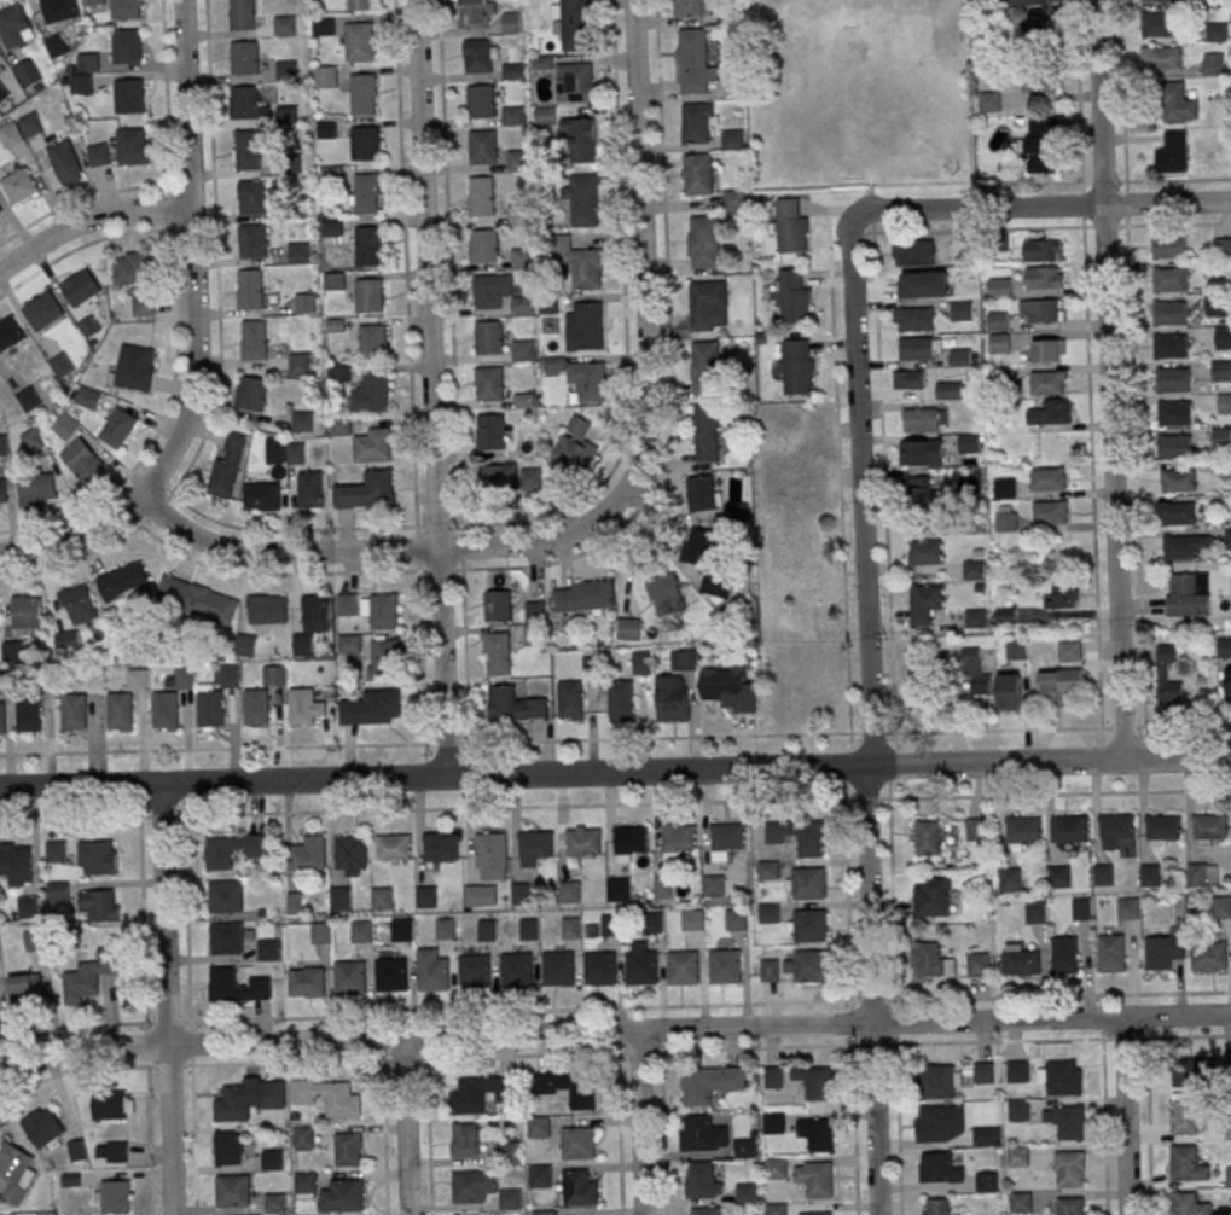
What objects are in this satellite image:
building: (1157, 0)
building: (94, 2)
building: (1032, 2)
building: (358, 5)
building: (692, 8)
building: (58, 10)
building: (126, 10)
building: (476, 12)
building: (242, 14)
building: (573, 22)
building: (511, 23)
building: (1157, 24)
building: (14, 25)
building: (284, 25)
building: (324, 27)
building: (1037, 28)
building: (1215, 33)
building: (360, 41)
building: (56, 46)
building: (127, 46)
building: (481, 56)
building: (244, 57)
building: (1161, 57)
building: (692, 62)
building: (87, 63)
building: (1212, 64)
building: (27, 74)
building: (326, 76)
building: (574, 82)
building: (1039, 82)
building: (80, 85)
building: (2, 93)
building: (364, 93)
building: (128, 95)
building: (481, 101)
building: (988, 101)
building: (248, 103)
building: (1179, 104)
building: (286, 115)
building: (513, 116)
building: (544, 116)
building: (697, 123)
building: (21, 129)
building: (327, 129)
building: (580, 140)
building: (366, 144)
building: (132, 146)
building: (1040, 146)
building: (483, 147)
building: (246, 150)
building: (1172, 152)
building: (97, 155)
building: (516, 159)
building: (64, 162)
building: (696, 174)
road: (214, 175)
road: (1028, 184)
building: (19, 186)
building: (367, 193)
building: (482, 196)
building: (251, 197)
building: (582, 199)
building: (734, 200)
road: (1081, 204)
road: (1040, 207)
building: (0, 211)
building: (517, 214)
road: (91, 219)
building: (790, 226)
road: (977, 229)
building: (252, 242)
building: (707, 242)
building: (484, 245)
building: (1168, 245)
building: (367, 246)
building: (1041, 250)
building: (298, 252)
building: (912, 252)
road: (194, 254)
road: (641, 255)
building: (521, 258)
building: (583, 266)
building: (129, 269)
building: (1043, 277)
building: (335, 280)
building: (1169, 280)
road: (451, 284)
building: (80, 287)
building: (904, 287)
building: (999, 287)
building: (249, 289)
building: (489, 290)
building: (368, 295)
building: (794, 297)
building: (306, 303)
building: (523, 306)
building: (705, 306)
building: (1217, 306)
building: (141, 307)
building: (42, 310)
building: (1040, 310)
building: (1169, 313)
building: (911, 319)
building: (585, 327)
building: (8, 333)
building: (489, 337)
building: (1223, 338)
building: (254, 341)
building: (372, 341)
building: (1169, 345)
building: (916, 348)
building: (523, 350)
building: (1049, 350)
building: (300, 364)
road: (1131, 364)
building: (60, 365)
building: (553, 365)
building: (133, 367)
building: (797, 367)
building: (705, 368)
road: (411, 379)
building: (907, 379)
road: (1108, 379)
building: (1173, 379)
building: (586, 382)
building: (1047, 383)
building: (489, 384)
road: (432, 388)
building: (948, 390)
building: (250, 394)
building: (371, 394)
building: (28, 399)
building: (87, 399)
building: (1224, 403)
building: (1050, 413)
building: (1173, 413)
building: (921, 419)
building: (302, 422)
building: (339, 426)
building: (64, 428)
building: (117, 428)
building: (489, 432)
building: (705, 432)
building: (1220, 437)
building: (31, 440)
building: (969, 443)
building: (4, 446)
building: (371, 446)
building: (575, 446)
building: (1173, 446)
building: (273, 450)
building: (295, 453)
building: (923, 453)
building: (81, 459)
parking lot: (795, 460)
building: (226, 464)
road: (838, 473)
building: (499, 476)
road: (1091, 477)
building: (530, 478)
building: (1047, 478)
building: (1177, 481)
road: (883, 482)
building: (1004, 488)
building: (36, 489)
building: (309, 489)
building: (365, 490)
building: (923, 490)
building: (702, 493)
building: (2, 494)
building: (261, 496)
building: (737, 511)
building: (1050, 511)
building: (1174, 513)
building: (1005, 518)
road: (74, 536)
building: (1227, 537)
building: (1184, 545)
building: (795, 547)
road: (371, 550)
building: (924, 552)
road: (74, 562)
building: (708, 562)
building: (972, 570)
building: (122, 582)
building: (1188, 594)
building: (583, 595)
building: (664, 595)
building: (1061, 595)
building: (197, 598)
building: (77, 604)
building: (347, 604)
building: (924, 604)
building: (497, 605)
building: (266, 609)
building: (534, 609)
building: (383, 611)
building: (27, 612)
building: (975, 621)
building: (310, 623)
building: (629, 628)
building: (66, 640)
building: (349, 644)
building: (244, 645)
building: (1224, 645)
building: (12, 651)
building: (1069, 651)
building: (498, 653)
building: (382, 659)
building: (683, 661)
building: (640, 662)
building: (975, 672)
building: (227, 675)
building: (273, 675)
building: (184, 678)
building: (137, 679)
building: (1167, 679)
building: (5, 682)
building: (1061, 682)
building: (1227, 682)
building: (728, 688)
building: (1010, 691)
building: (672, 698)
building: (570, 699)
building: (620, 700)
building: (513, 705)
building: (306, 707)
building: (211, 708)
building: (256, 708)
building: (373, 708)
building: (166, 710)
building: (74, 711)
building: (120, 711)
building: (29, 713)
building: (2, 717)
road: (869, 717)
road: (615, 739)
road: (615, 772)
road: (707, 802)
road: (91, 818)
building: (1116, 826)
building: (1163, 826)
building: (1069, 827)
building: (1210, 827)
building: (975, 829)
building: (1021, 832)
building: (927, 837)
building: (809, 839)
building: (677, 841)
building: (725, 841)
building: (629, 842)
building: (581, 844)
building: (441, 847)
building: (534, 847)
building: (393, 848)
building: (231, 849)
building: (56, 851)
building: (309, 854)
building: (350, 855)
building: (492, 856)
building: (98, 858)
building: (16, 864)
road: (889, 866)
building: (1103, 874)
building: (1149, 874)
building: (1196, 874)
building: (1058, 877)
building: (1010, 879)
building: (808, 883)
building: (713, 886)
building: (662, 888)
building: (617, 889)
building: (58, 890)
building: (569, 891)
building: (522, 894)
building: (474, 895)
building: (226, 896)
building: (931, 896)
building: (426, 897)
building: (339, 899)
building: (382, 899)
building: (99, 905)
building: (28, 907)
building: (1221, 907)
building: (1127, 908)
building: (1081, 909)
building: (1034, 912)
building: (768, 914)
road: (186, 919)
building: (734, 919)
building: (692, 920)
building: (651, 923)
building: (610, 925)
building: (807, 925)
building: (445, 929)
building: (528, 929)
building: (570, 929)
building: (400, 930)
building: (487, 930)
building: (361, 931)
building: (319, 932)
building: (227, 938)
building: (34, 940)
building: (268, 949)
building: (1163, 949)
building: (1110, 953)
building: (1065, 954)
building: (1208, 957)
building: (930, 960)
building: (1020, 963)
building: (977, 964)
building: (724, 966)
building: (809, 966)
building: (640, 967)
building: (681, 967)
building: (557, 969)
building: (599, 969)
building: (516, 970)
building: (768, 970)
building: (474, 971)
building: (390, 975)
building: (432, 975)
building: (89, 976)
building: (349, 977)
building: (306, 981)
building: (237, 987)
building: (25, 989)
road: (1040, 995)
road: (164, 999)
road: (611, 1030)
road: (1062, 1039)
road: (873, 1045)
road: (191, 1064)
building: (1016, 1071)
building: (1192, 1071)
building: (983, 1072)
building: (773, 1077)
building: (1059, 1077)
building: (939, 1081)
building: (815, 1082)
building: (709, 1083)
building: (567, 1087)
building: (468, 1097)
building: (249, 1098)
building: (338, 1099)
building: (111, 1106)
building: (1017, 1110)
road: (1123, 1116)
building: (1184, 1117)
road: (637, 1122)
building: (1070, 1122)
building: (773, 1123)
building: (939, 1123)
road: (403, 1126)
building: (538, 1127)
building: (43, 1128)
road: (898, 1129)
building: (817, 1133)
building: (702, 1134)
building: (986, 1135)
road: (428, 1136)
building: (303, 1138)
building: (465, 1140)
building: (577, 1143)
building: (744, 1147)
building: (227, 1149)
building: (77, 1150)
building: (348, 1150)
building: (111, 1152)
building: (510, 1152)
building: (1017, 1157)
building: (273, 1159)
building: (1185, 1164)
building: (774, 1168)
building: (939, 1168)
building: (1070, 1169)
building: (14, 1173)
building: (540, 1176)
building: (701, 1178)
building: (815, 1179)
building: (987, 1181)
building: (304, 1184)
building: (474, 1186)
building: (579, 1187)
building: (233, 1191)
building: (745, 1192)
building: (343, 1196)
building: (112, 1197)
building: (274, 1202)
building: (1020, 1203)
building: (1189, 1204)
building: (1070, 1205)
building: (936, 1207)
building: (774, 1209)
building: (708, 1210)
building: (544, 1213)
building: (817, 1214)

